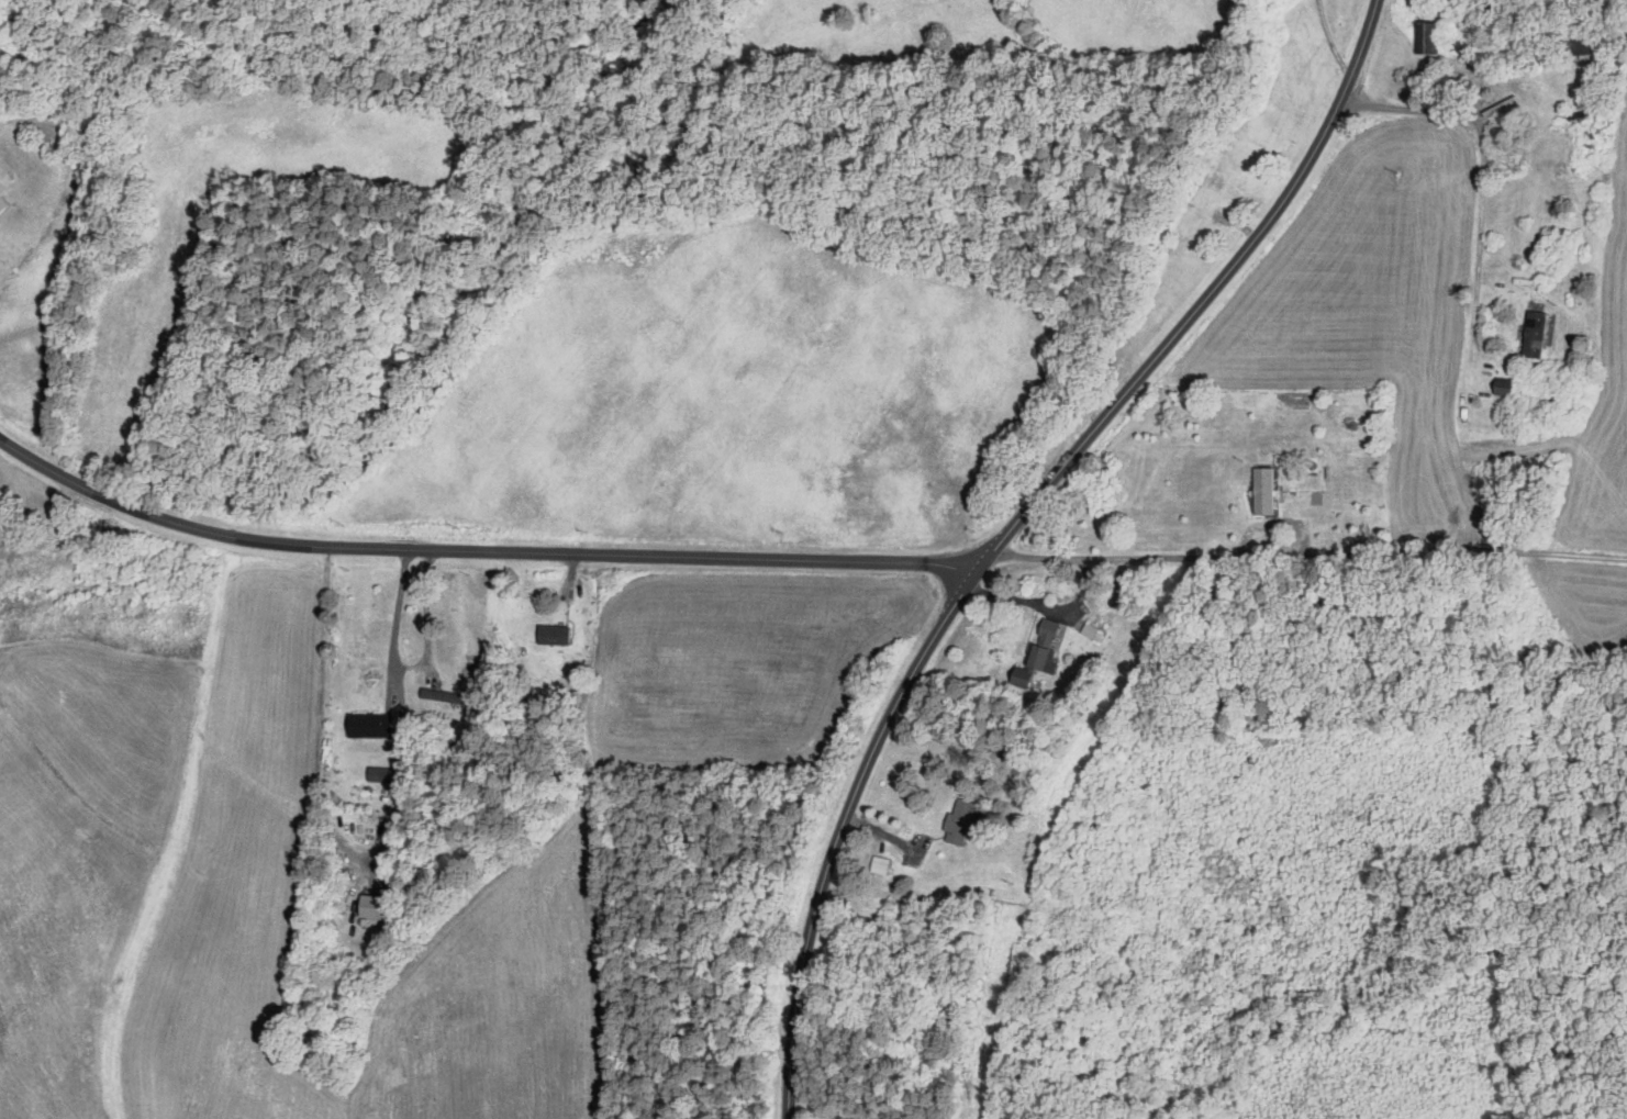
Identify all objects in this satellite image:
building: (1422, 36)
road: (1330, 41)
building: (1582, 43)
road: (1483, 157)
building: (1, 198)
building: (1534, 333)
building: (1261, 490)
road: (1015, 527)
road: (479, 548)
road: (1311, 568)
road: (1046, 607)
road: (393, 618)
building: (1092, 631)
building: (551, 634)
building: (1036, 652)
building: (437, 703)
building: (367, 724)
building: (377, 774)
building: (958, 821)
building: (878, 864)
building: (367, 906)

